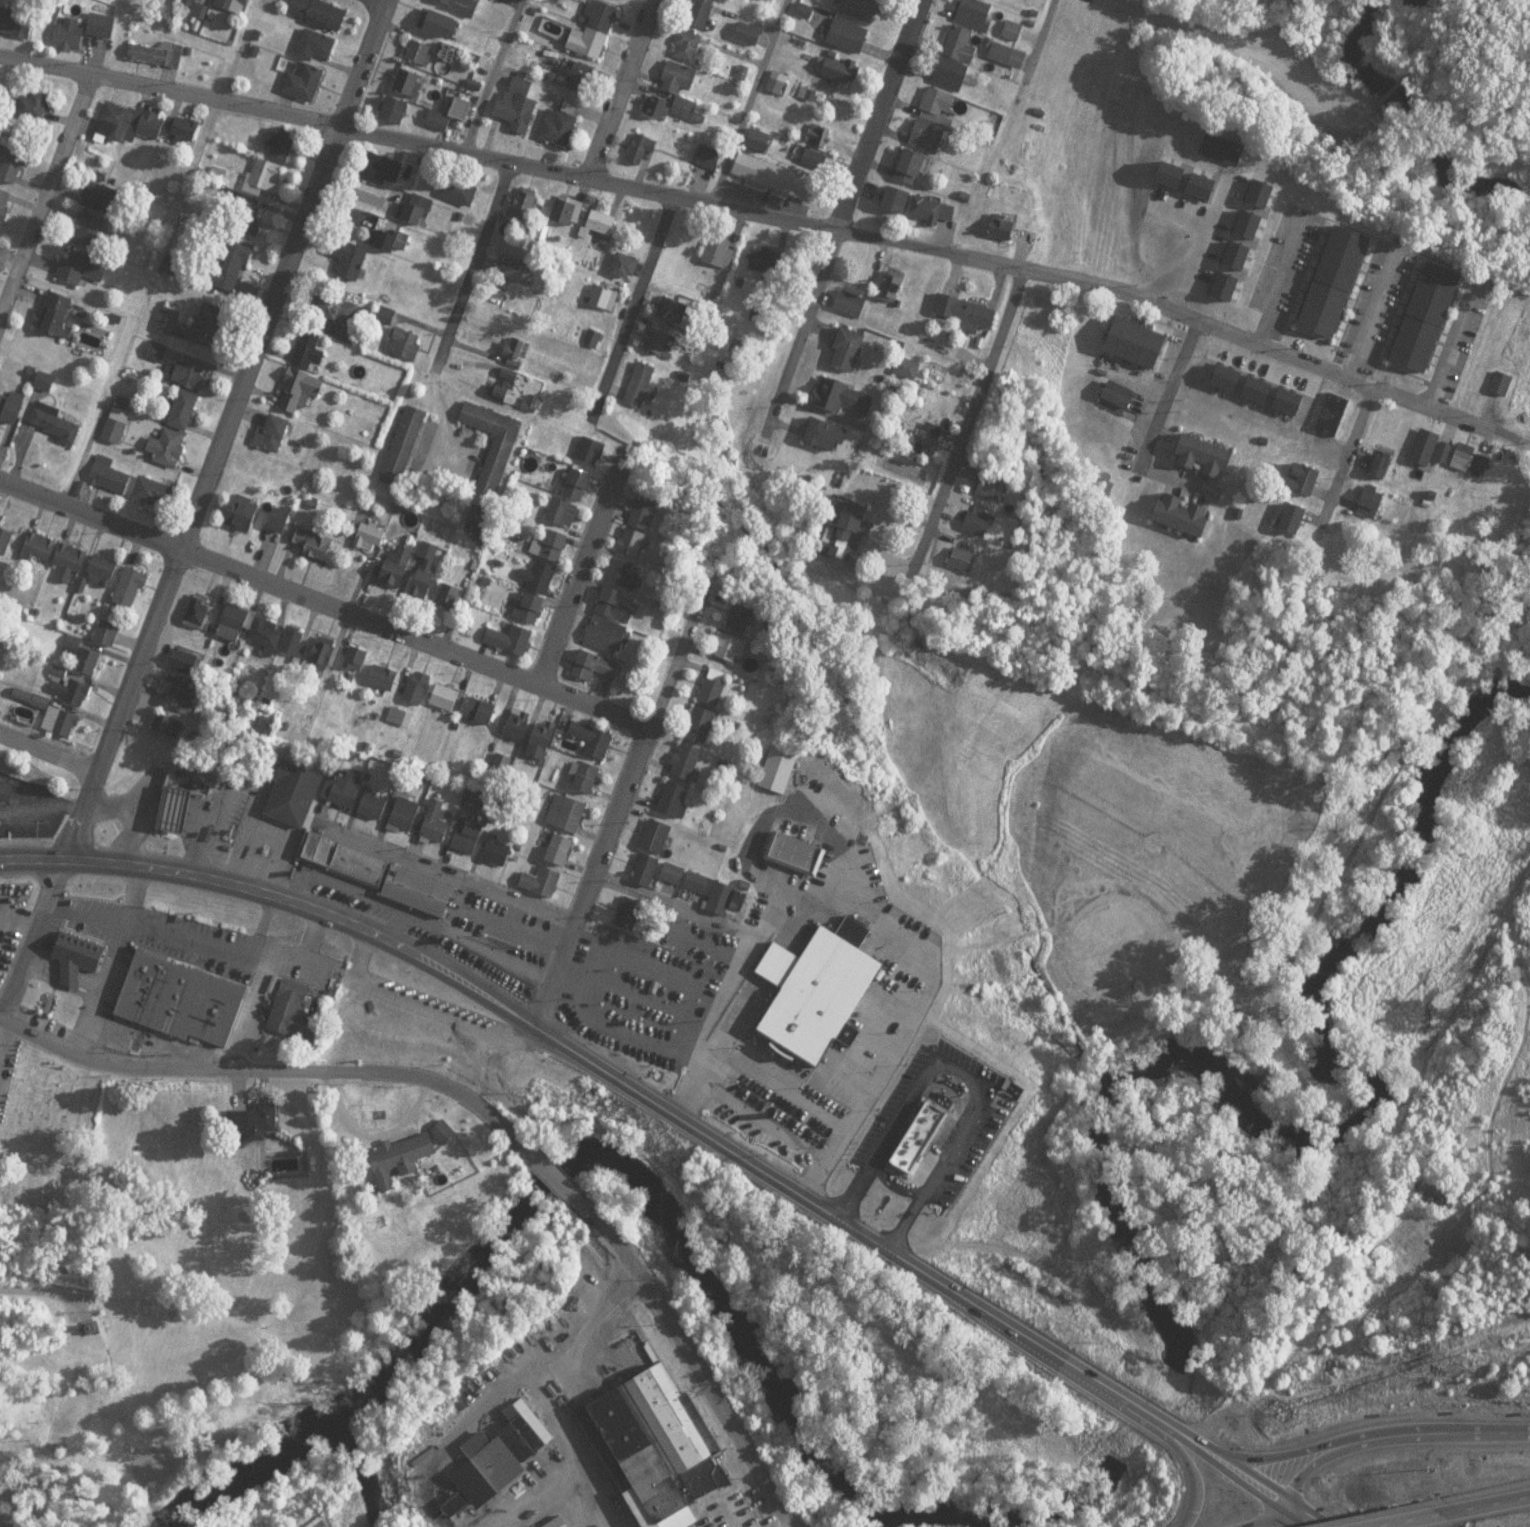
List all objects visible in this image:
road: (518, 0)
building: (613, 0)
building: (195, 4)
building: (228, 4)
building: (457, 5)
building: (857, 9)
building: (316, 13)
building: (698, 14)
building: (972, 15)
road: (148, 19)
building: (17, 24)
building: (436, 25)
building: (592, 31)
building: (748, 35)
building: (68, 36)
building: (846, 37)
road: (1038, 38)
building: (313, 46)
building: (957, 46)
road: (232, 47)
building: (686, 47)
building: (418, 54)
building: (155, 56)
building: (1006, 57)
building: (838, 69)
road: (111, 74)
road: (493, 74)
building: (573, 79)
building: (678, 79)
building: (302, 84)
building: (774, 84)
road: (827, 84)
building: (407, 85)
road: (615, 87)
building: (942, 90)
building: (804, 96)
road: (750, 100)
building: (32, 107)
building: (516, 107)
building: (655, 108)
building: (684, 111)
building: (394, 113)
building: (448, 116)
building: (112, 123)
building: (144, 126)
building: (183, 129)
building: (556, 129)
building: (924, 138)
building: (757, 143)
building: (280, 146)
building: (641, 150)
building: (1223, 152)
building: (706, 159)
building: (814, 161)
building: (908, 167)
building: (11, 169)
building: (261, 178)
building: (775, 180)
building: (457, 193)
building: (103, 196)
building: (896, 201)
road: (49, 202)
building: (242, 204)
building: (523, 205)
building: (4, 206)
building: (412, 210)
building: (932, 211)
building: (566, 212)
road: (848, 218)
building: (1000, 229)
building: (86, 230)
building: (387, 238)
road: (869, 238)
building: (597, 239)
building: (717, 252)
building: (345, 259)
building: (766, 265)
building: (232, 267)
building: (624, 268)
building: (79, 269)
building: (514, 269)
building: (1334, 283)
road: (466, 291)
building: (600, 298)
building: (847, 305)
road: (632, 306)
building: (336, 308)
building: (670, 311)
road: (1375, 313)
building: (55, 315)
building: (965, 315)
building: (1425, 318)
building: (165, 322)
building: (210, 324)
building: (590, 340)
building: (655, 343)
road: (1452, 343)
building: (1135, 344)
building: (404, 345)
building: (306, 351)
building: (516, 351)
building: (845, 351)
building: (905, 370)
building: (186, 376)
building: (503, 385)
building: (1499, 385)
building: (640, 387)
building: (299, 393)
building: (843, 399)
building: (1117, 399)
building: (10, 410)
building: (181, 411)
road: (1156, 414)
building: (1330, 416)
road: (971, 417)
building: (53, 425)
building: (114, 426)
building: (271, 435)
building: (825, 437)
building: (927, 439)
building: (401, 447)
building: (492, 447)
building: (1423, 449)
building: (165, 450)
building: (590, 453)
road: (1344, 453)
building: (1462, 457)
building: (1205, 458)
road: (1142, 463)
building: (1379, 468)
building: (106, 478)
building: (1303, 481)
building: (575, 487)
building: (990, 490)
building: (152, 494)
building: (1371, 500)
road: (192, 505)
building: (239, 515)
building: (559, 515)
building: (1183, 517)
building: (480, 520)
building: (1291, 520)
building: (278, 521)
building: (977, 526)
building: (635, 529)
building: (845, 532)
building: (367, 539)
building: (311, 544)
building: (552, 547)
building: (36, 549)
building: (963, 561)
road: (582, 565)
building: (67, 567)
building: (396, 568)
building: (101, 572)
building: (423, 573)
building: (537, 577)
building: (623, 577)
building: (129, 590)
building: (449, 598)
road: (323, 604)
building: (613, 606)
building: (530, 609)
building: (197, 613)
building: (739, 621)
building: (233, 625)
building: (105, 634)
building: (265, 636)
building: (605, 636)
building: (508, 640)
building: (731, 650)
building: (322, 655)
building: (83, 659)
building: (354, 660)
building: (178, 662)
building: (592, 667)
building: (381, 680)
building: (415, 689)
building: (72, 693)
building: (712, 694)
building: (180, 696)
building: (443, 698)
building: (480, 713)
building: (60, 724)
building: (165, 727)
building: (699, 727)
building: (516, 728)
building: (591, 741)
building: (540, 743)
road: (46, 749)
building: (684, 763)
building: (776, 772)
building: (585, 779)
building: (342, 793)
building: (4, 794)
building: (291, 796)
building: (180, 801)
building: (671, 801)
building: (371, 805)
building: (564, 815)
building: (403, 816)
road: (612, 817)
building: (433, 825)
building: (465, 838)
building: (654, 838)
building: (557, 852)
building: (495, 855)
building: (795, 857)
building: (643, 872)
building: (380, 877)
building: (539, 884)
building: (707, 893)
road: (280, 897)
road: (672, 904)
building: (657, 956)
building: (79, 959)
building: (181, 1000)
building: (297, 1008)
road: (716, 1026)
road: (212, 1069)
road: (481, 1106)
building: (254, 1122)
building: (443, 1133)
building: (914, 1143)
building: (398, 1162)
road: (551, 1174)
road: (928, 1276)
road: (42, 1293)
building: (88, 1331)
road: (694, 1361)
road: (555, 1390)
road: (1393, 1437)
building: (655, 1449)
building: (498, 1460)
road: (541, 1495)
road: (1494, 1502)
road: (1229, 1509)
road: (1419, 1518)
road: (791, 1526)

